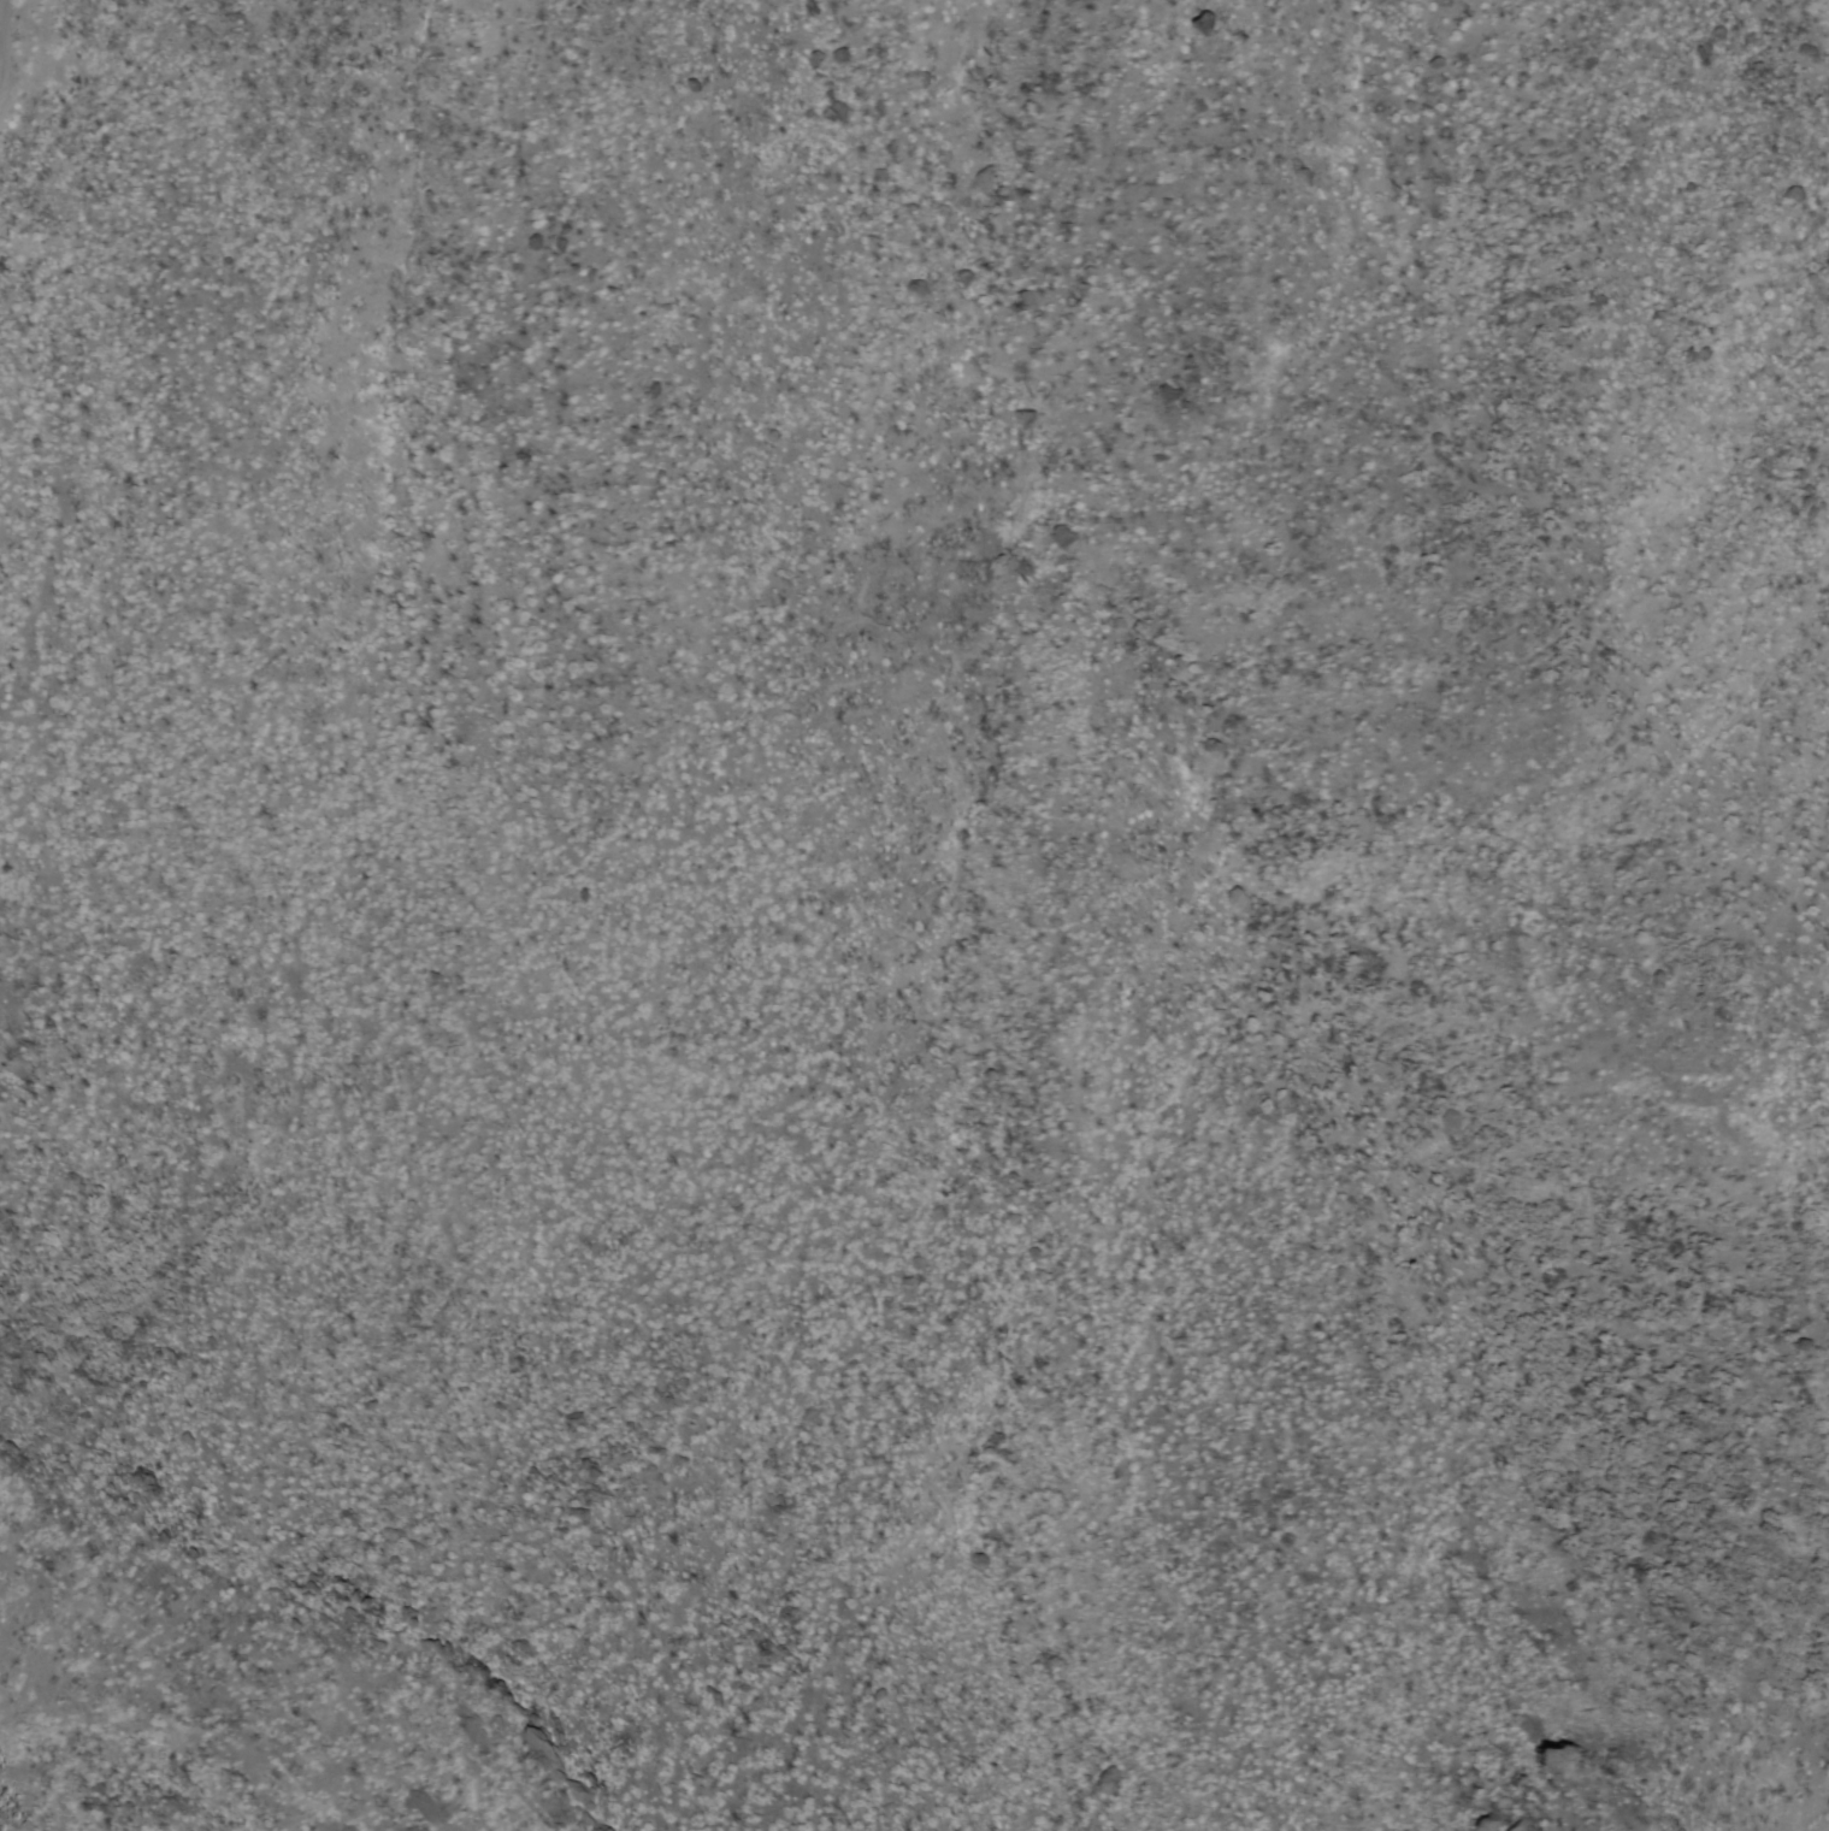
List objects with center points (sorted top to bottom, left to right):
road: (19, 61)

